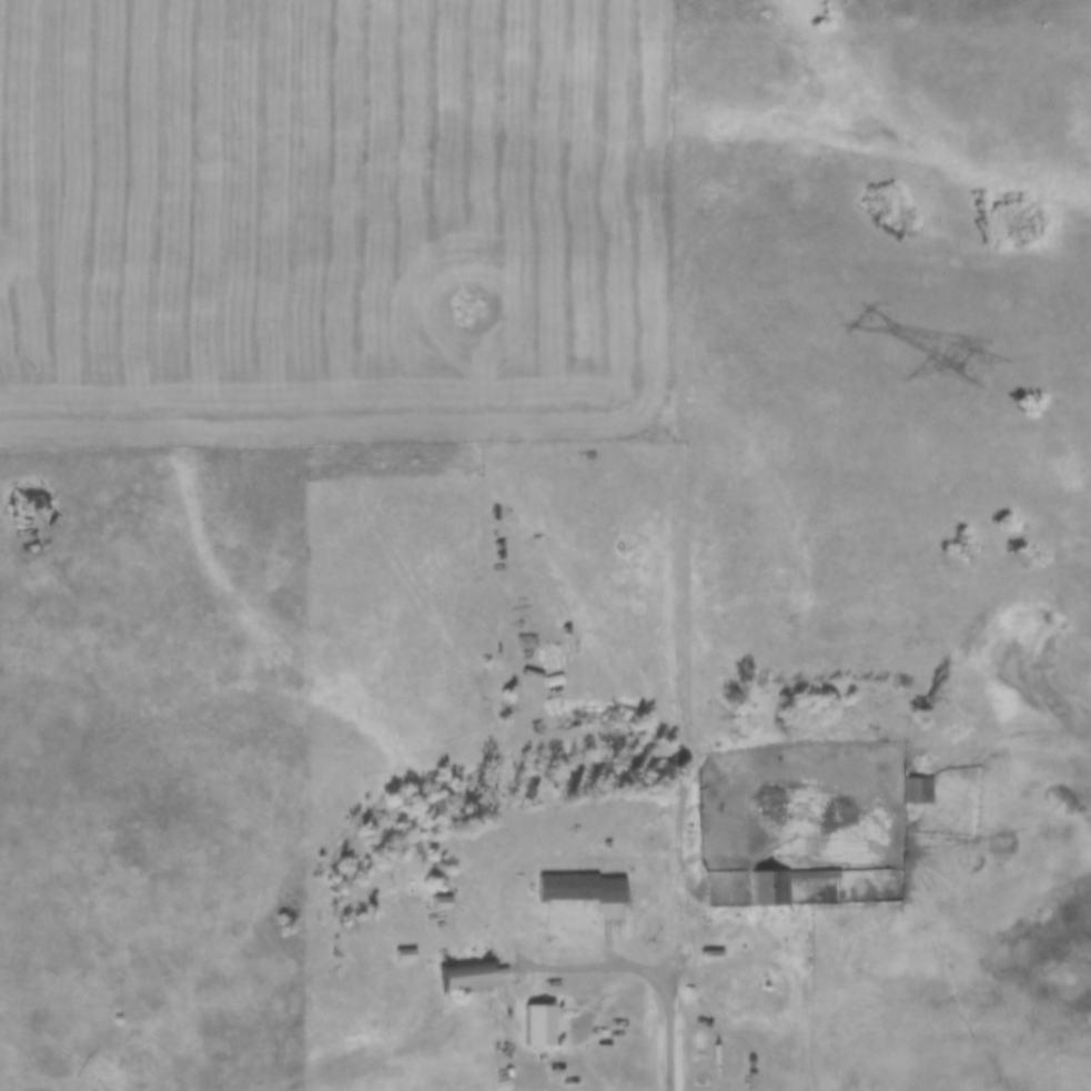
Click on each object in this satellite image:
power tower: (987, 370)
building: (916, 789)
building: (777, 885)
building: (563, 887)
building: (440, 902)
road: (527, 949)
building: (402, 954)
building: (465, 976)
road: (668, 1024)

